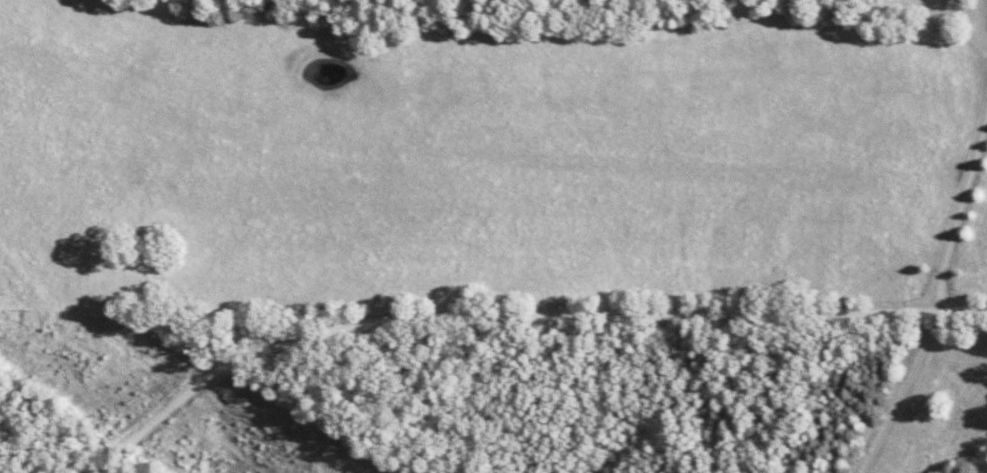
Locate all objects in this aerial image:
road: (937, 304)
road: (520, 322)

